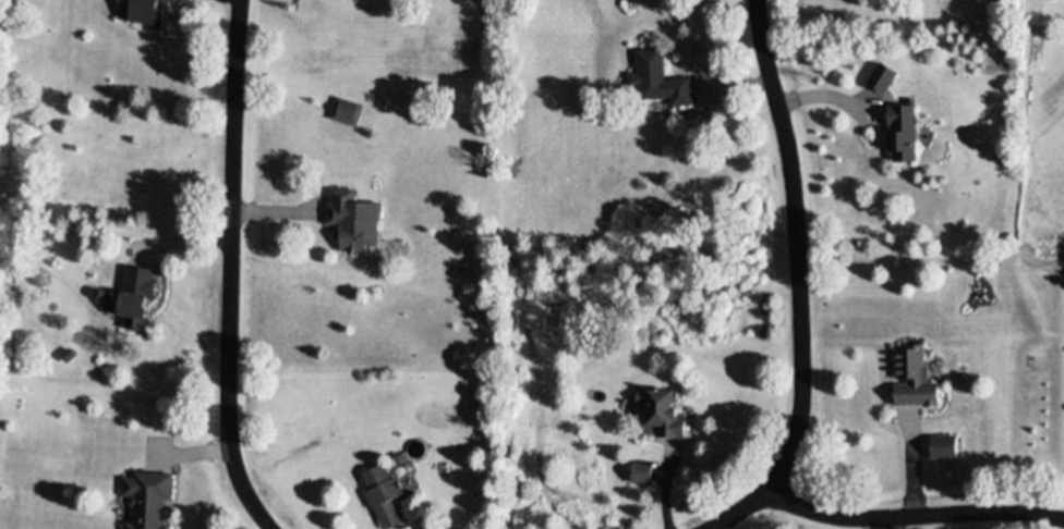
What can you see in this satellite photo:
building: (148, 9)
building: (883, 71)
building: (661, 73)
building: (348, 107)
building: (904, 125)
building: (354, 213)
road: (232, 269)
road: (800, 283)
building: (100, 287)
building: (137, 291)
building: (915, 371)
building: (665, 404)
building: (945, 440)
building: (644, 467)
building: (385, 488)
building: (147, 497)
road: (914, 515)
building: (432, 525)

